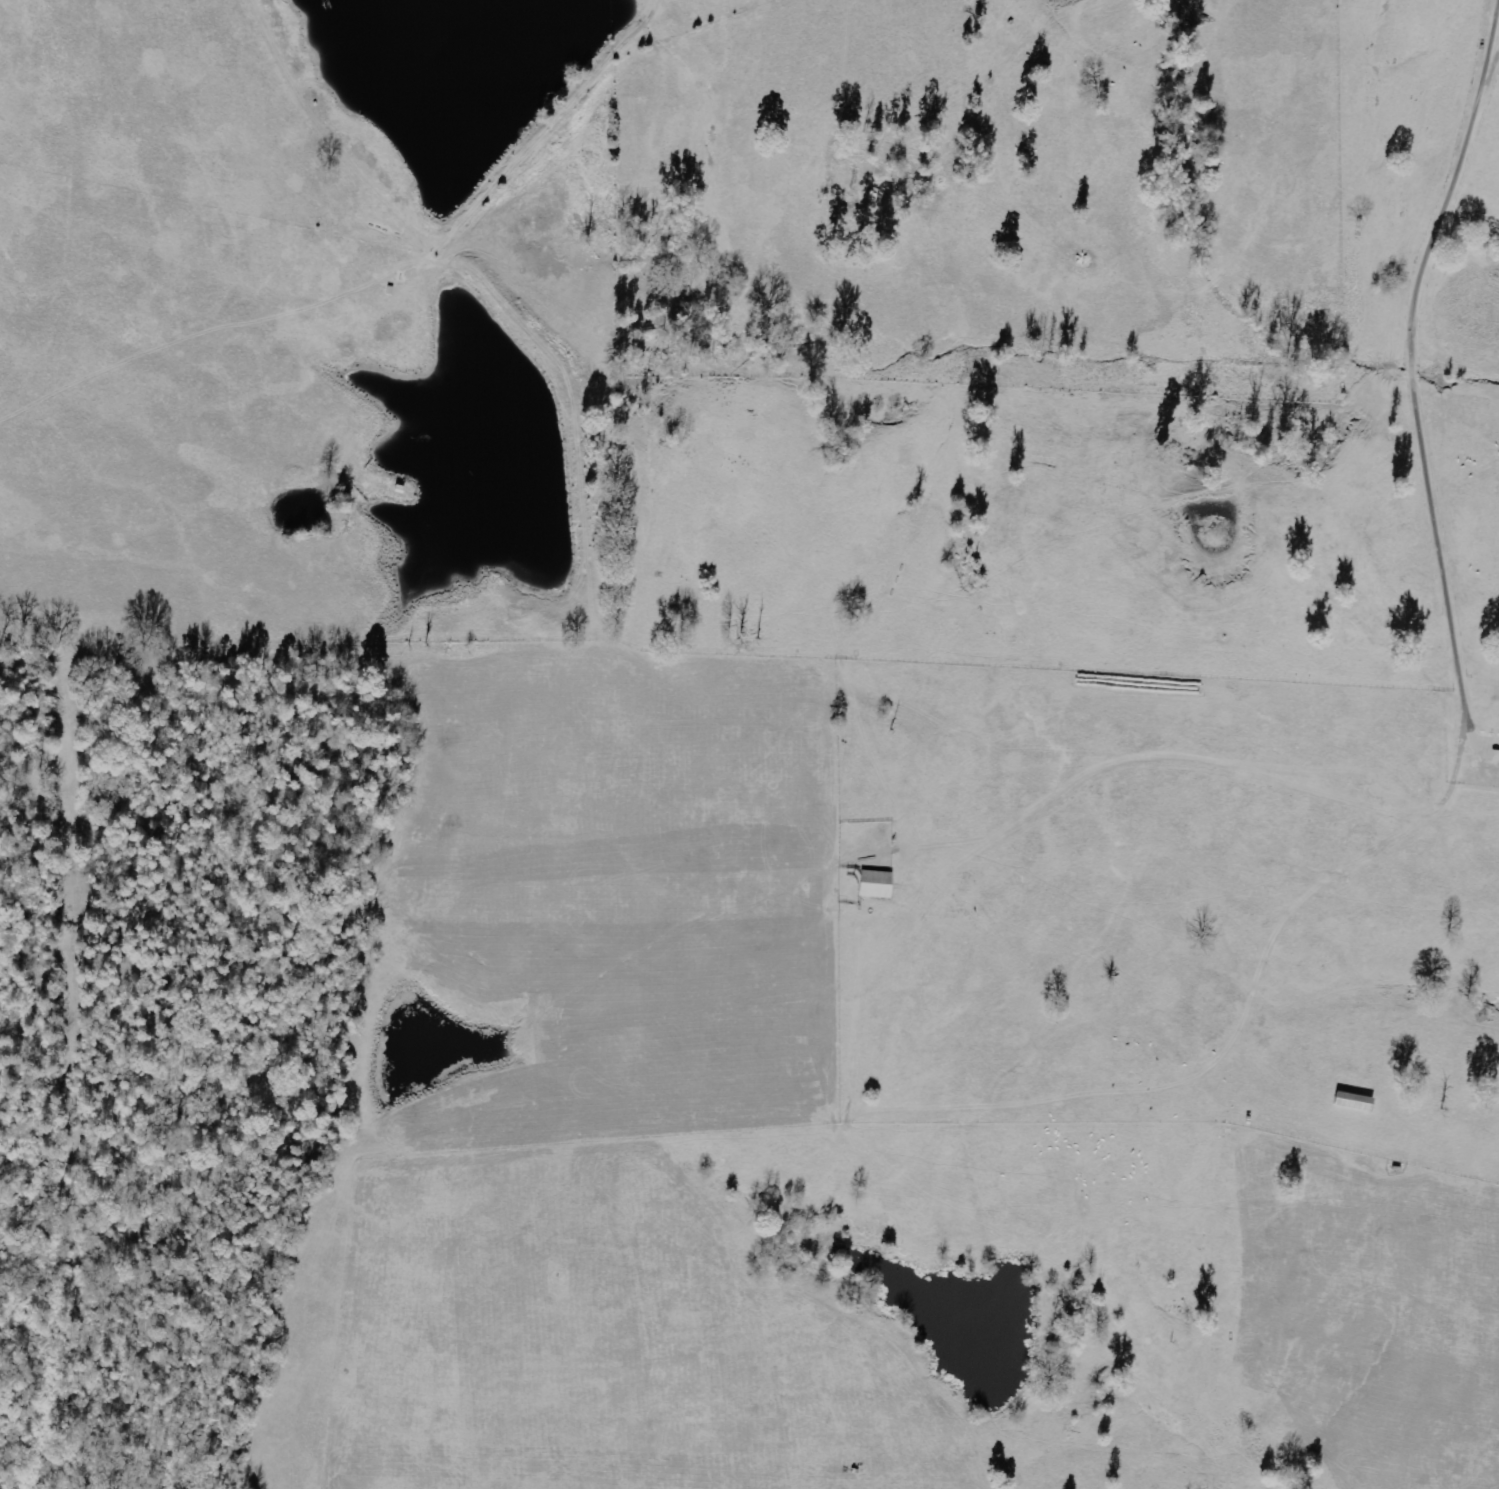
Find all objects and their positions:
road: (1406, 364)
building: (877, 884)

